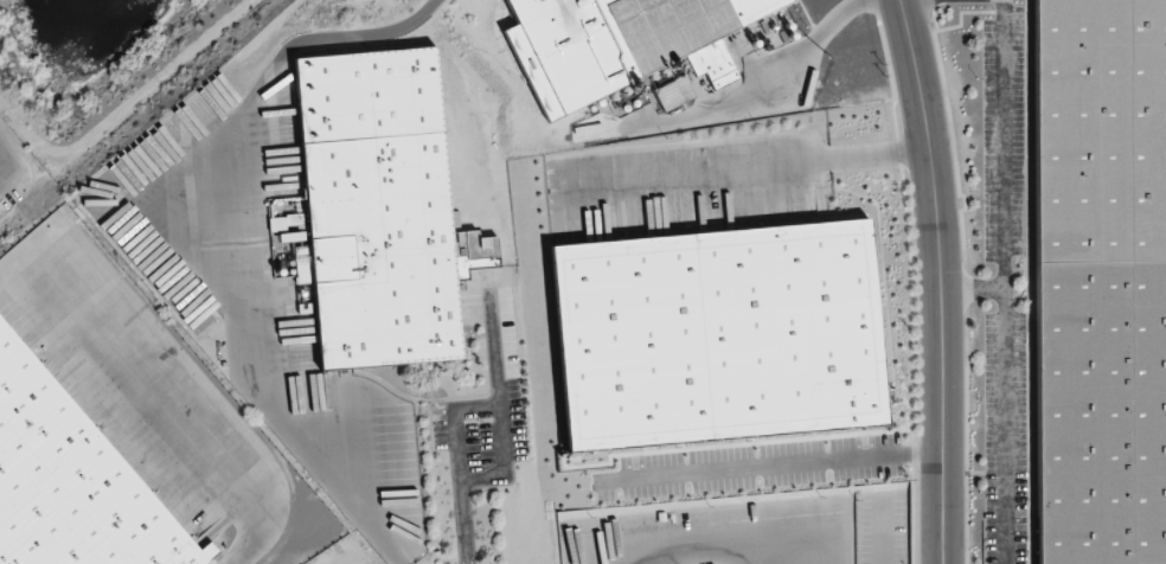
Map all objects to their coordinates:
road: (906, 0)
building: (628, 46)
building: (666, 72)
building: (674, 92)
building: (369, 96)
building: (1100, 132)
road: (4, 152)
road: (755, 162)
building: (377, 194)
road: (14, 264)
road: (941, 280)
road: (1004, 282)
road: (973, 290)
building: (386, 308)
building: (715, 337)
road: (250, 368)
road: (168, 404)
road: (500, 404)
road: (476, 409)
building: (1100, 414)
road: (786, 462)
building: (71, 482)
road: (460, 487)

